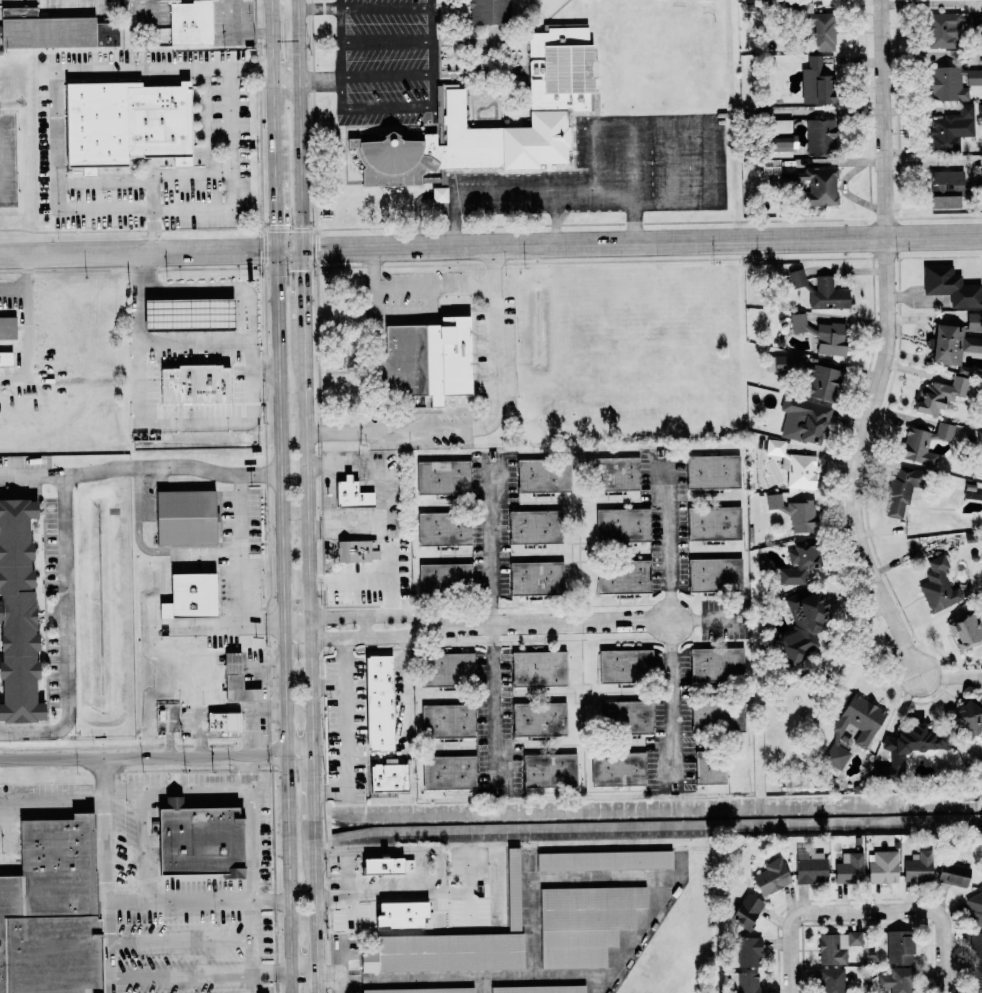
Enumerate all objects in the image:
building: (696, 0)
road: (339, 4)
road: (368, 7)
building: (488, 12)
building: (188, 23)
building: (972, 23)
building: (815, 26)
building: (52, 31)
building: (942, 31)
road: (235, 34)
road: (298, 39)
road: (340, 65)
road: (174, 68)
road: (421, 78)
road: (285, 80)
building: (815, 83)
building: (952, 83)
road: (272, 90)
building: (559, 99)
road: (628, 119)
building: (122, 124)
building: (778, 126)
building: (950, 129)
building: (819, 137)
building: (778, 147)
road: (672, 162)
road: (300, 165)
road: (190, 171)
road: (230, 176)
road: (634, 181)
building: (981, 181)
building: (809, 185)
building: (945, 190)
building: (437, 195)
road: (151, 213)
road: (274, 215)
road: (556, 218)
road: (642, 242)
road: (288, 250)
road: (137, 252)
road: (373, 269)
building: (796, 279)
road: (303, 285)
road: (14, 287)
building: (949, 287)
road: (434, 288)
building: (826, 296)
building: (186, 315)
road: (28, 316)
building: (7, 328)
building: (821, 335)
building: (955, 341)
road: (194, 343)
road: (886, 347)
building: (4, 359)
building: (424, 360)
building: (783, 364)
road: (264, 372)
building: (820, 383)
building: (193, 385)
building: (939, 395)
road: (251, 412)
building: (803, 420)
road: (488, 425)
building: (923, 444)
building: (792, 465)
road: (139, 467)
road: (305, 469)
building: (711, 472)
building: (613, 473)
building: (542, 475)
building: (442, 477)
building: (897, 492)
building: (350, 493)
building: (793, 512)
building: (183, 517)
road: (138, 520)
building: (712, 523)
building: (621, 525)
building: (533, 526)
building: (443, 529)
road: (243, 547)
road: (206, 550)
building: (353, 550)
building: (800, 565)
building: (713, 574)
building: (443, 578)
building: (535, 578)
building: (622, 578)
road: (349, 580)
road: (390, 580)
building: (937, 586)
building: (187, 596)
building: (16, 609)
road: (371, 616)
road: (295, 617)
road: (671, 620)
road: (710, 620)
road: (282, 621)
road: (552, 622)
road: (226, 623)
building: (802, 623)
road: (495, 624)
road: (365, 627)
road: (308, 628)
building: (966, 631)
road: (64, 633)
road: (372, 637)
road: (296, 639)
building: (715, 664)
building: (623, 666)
building: (537, 668)
building: (446, 669)
road: (259, 676)
building: (235, 679)
road: (407, 695)
road: (310, 697)
building: (377, 703)
road: (272, 707)
road: (259, 708)
building: (715, 715)
building: (968, 715)
building: (625, 716)
building: (540, 719)
road: (348, 720)
building: (221, 721)
building: (448, 721)
building: (851, 730)
road: (260, 745)
road: (201, 746)
building: (906, 748)
road: (298, 755)
road: (142, 757)
building: (708, 768)
building: (618, 770)
building: (550, 771)
road: (246, 773)
building: (449, 773)
building: (386, 777)
road: (311, 784)
road: (174, 790)
road: (197, 801)
road: (52, 802)
building: (196, 839)
road: (142, 846)
building: (605, 862)
building: (380, 865)
building: (809, 867)
building: (882, 867)
building: (917, 867)
building: (848, 868)
building: (952, 874)
road: (106, 875)
road: (347, 877)
building: (770, 877)
road: (253, 889)
road: (312, 892)
road: (197, 901)
building: (975, 908)
building: (49, 909)
building: (746, 911)
building: (399, 915)
road: (792, 917)
road: (941, 917)
building: (583, 923)
road: (181, 942)
building: (456, 944)
building: (975, 946)
building: (835, 947)
building: (899, 947)
building: (747, 951)
road: (271, 971)
road: (301, 972)
road: (181, 976)
building: (976, 979)
building: (830, 980)
building: (896, 980)
road: (314, 982)
building: (743, 982)
building: (538, 989)
building: (420, 990)

